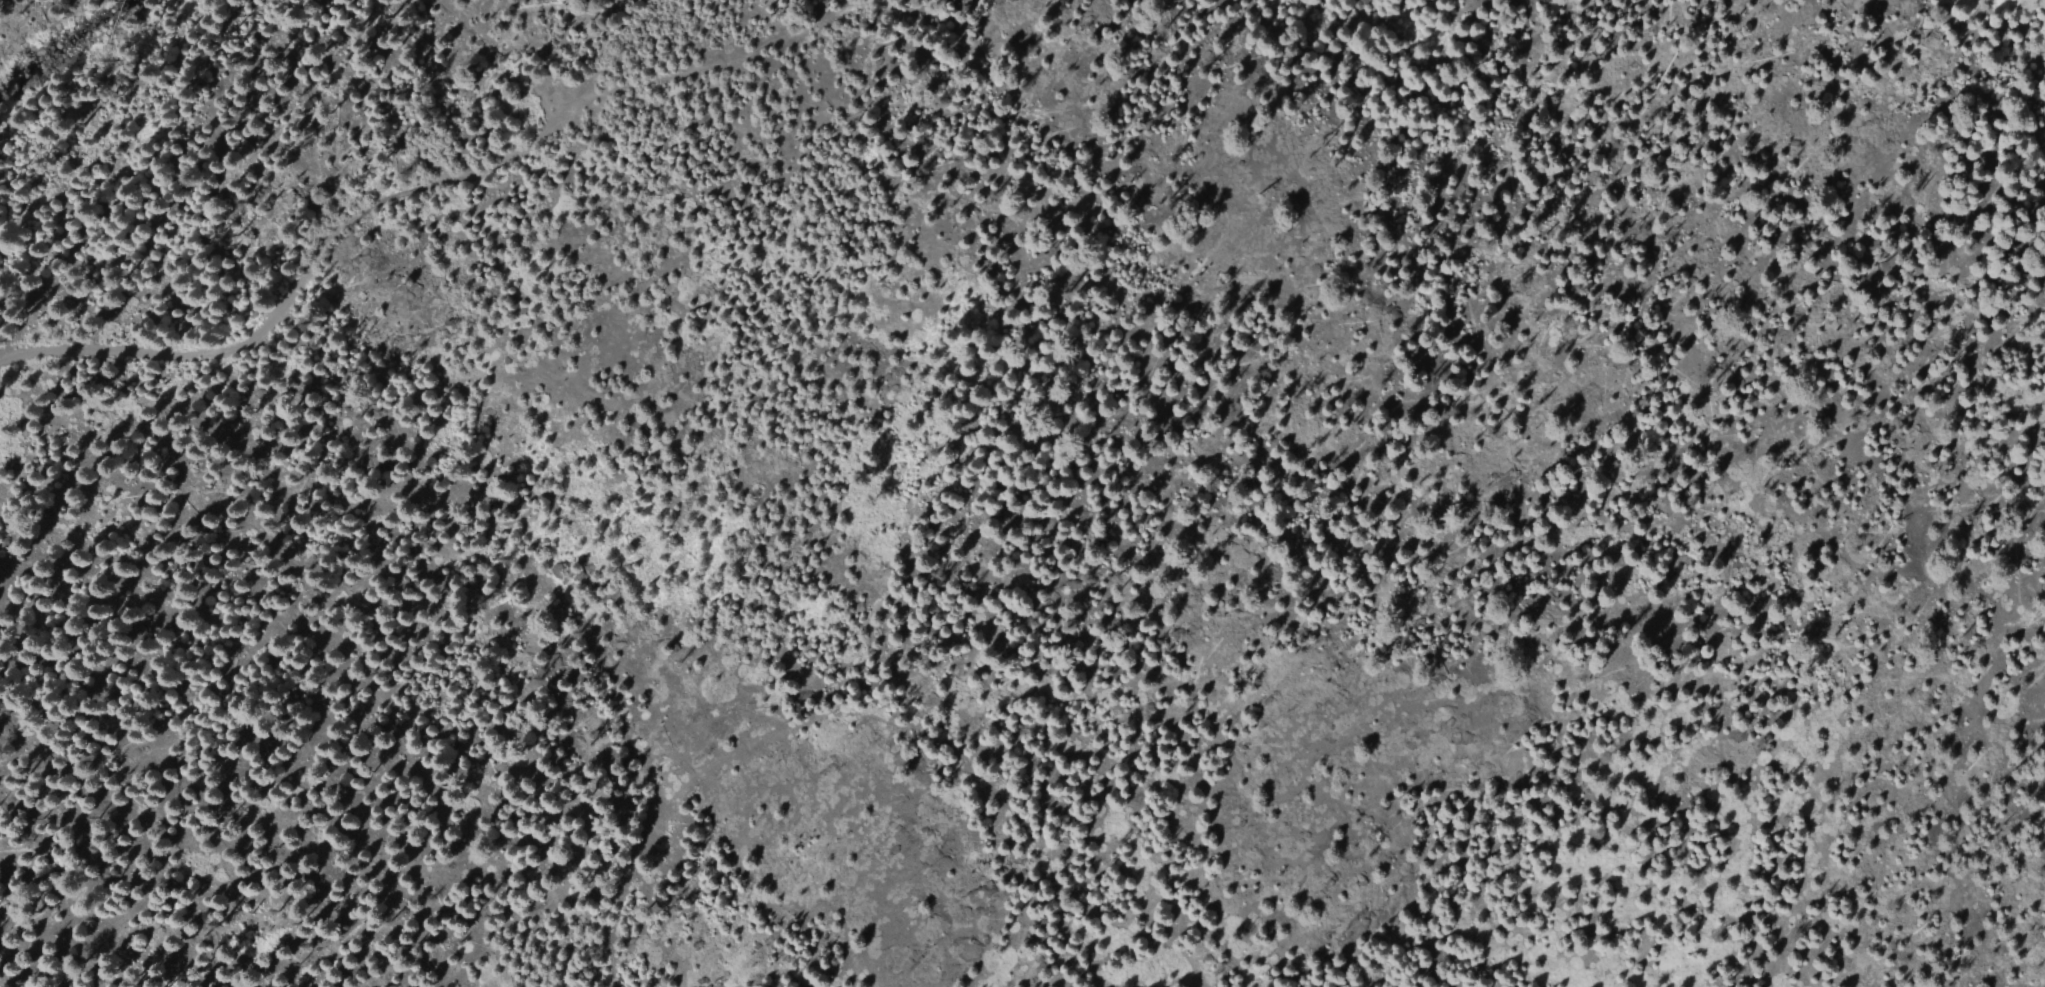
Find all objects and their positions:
road: (355, 219)

